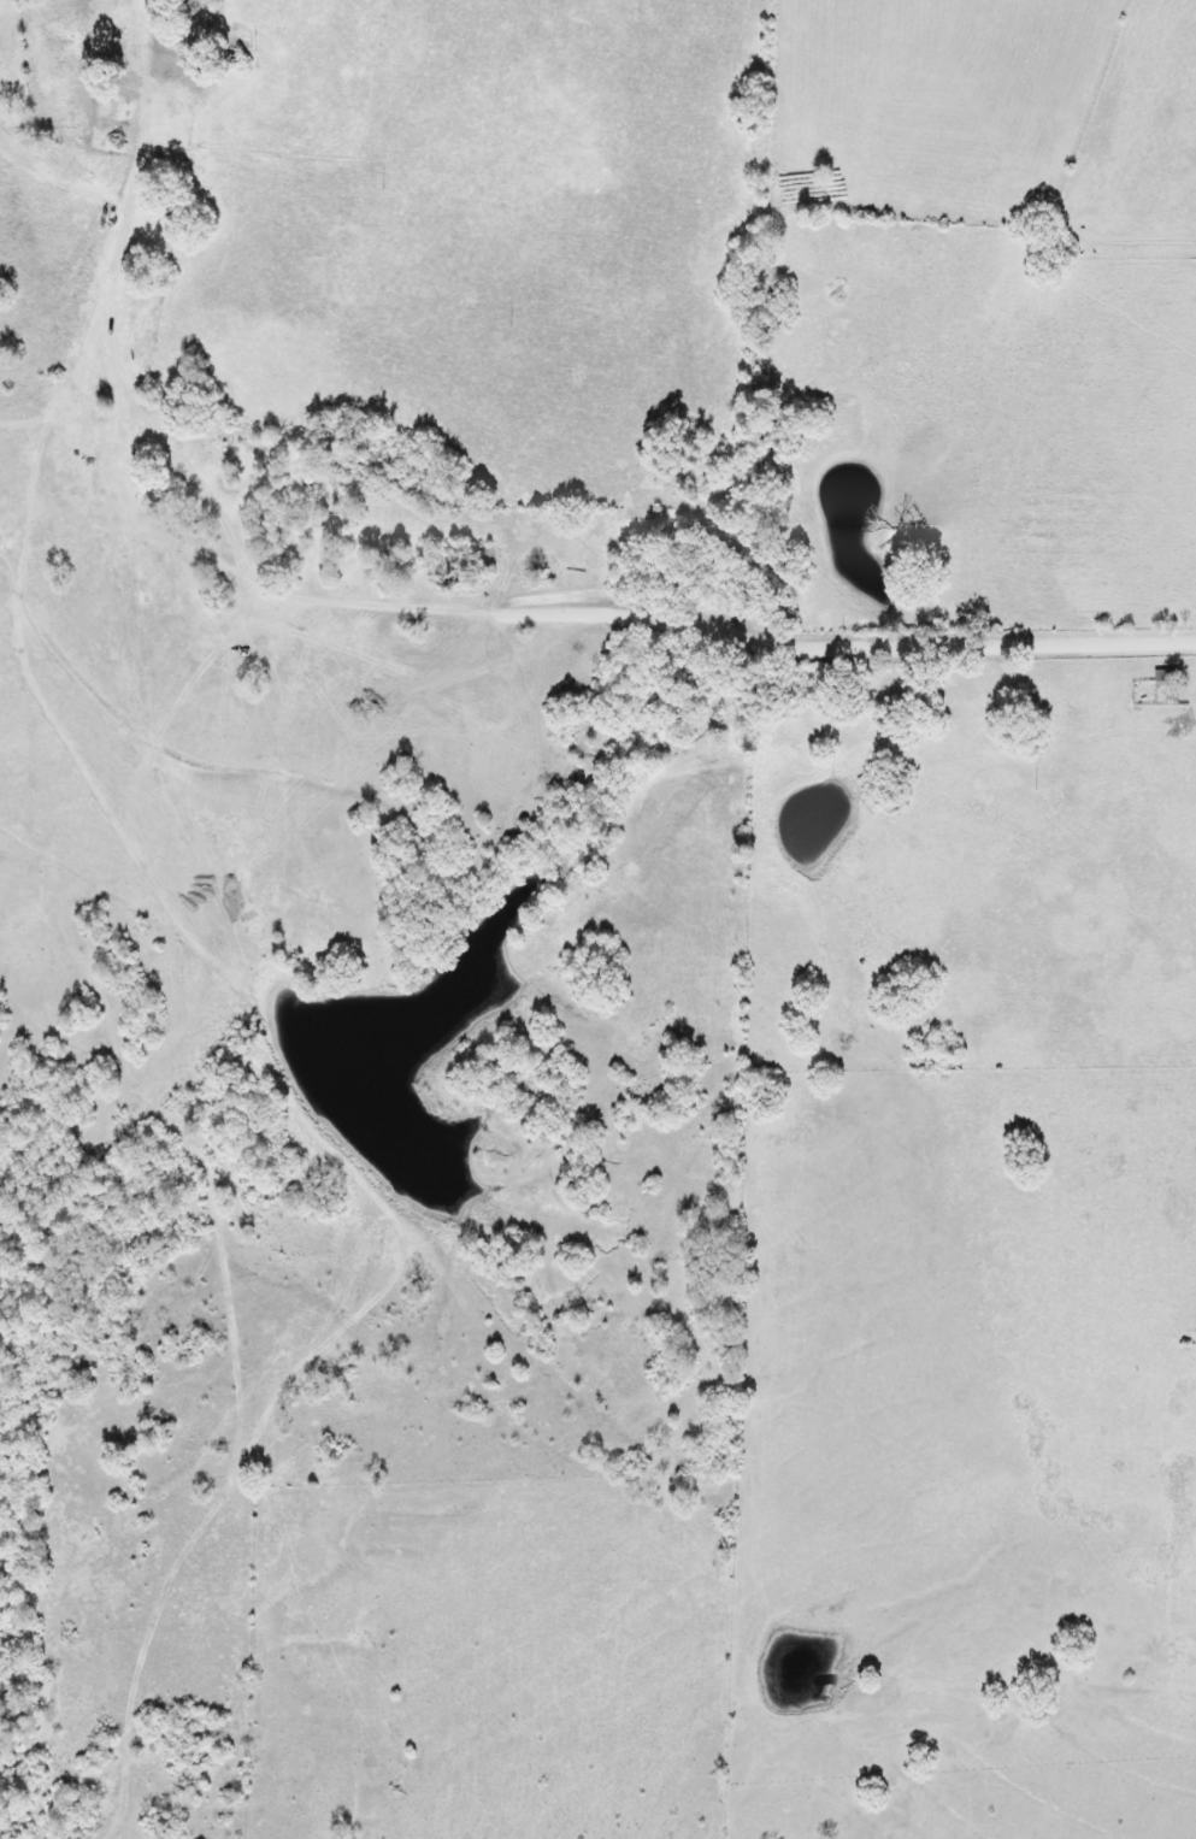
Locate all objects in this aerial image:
road: (1, 2)
road: (437, 607)
building: (1165, 674)

